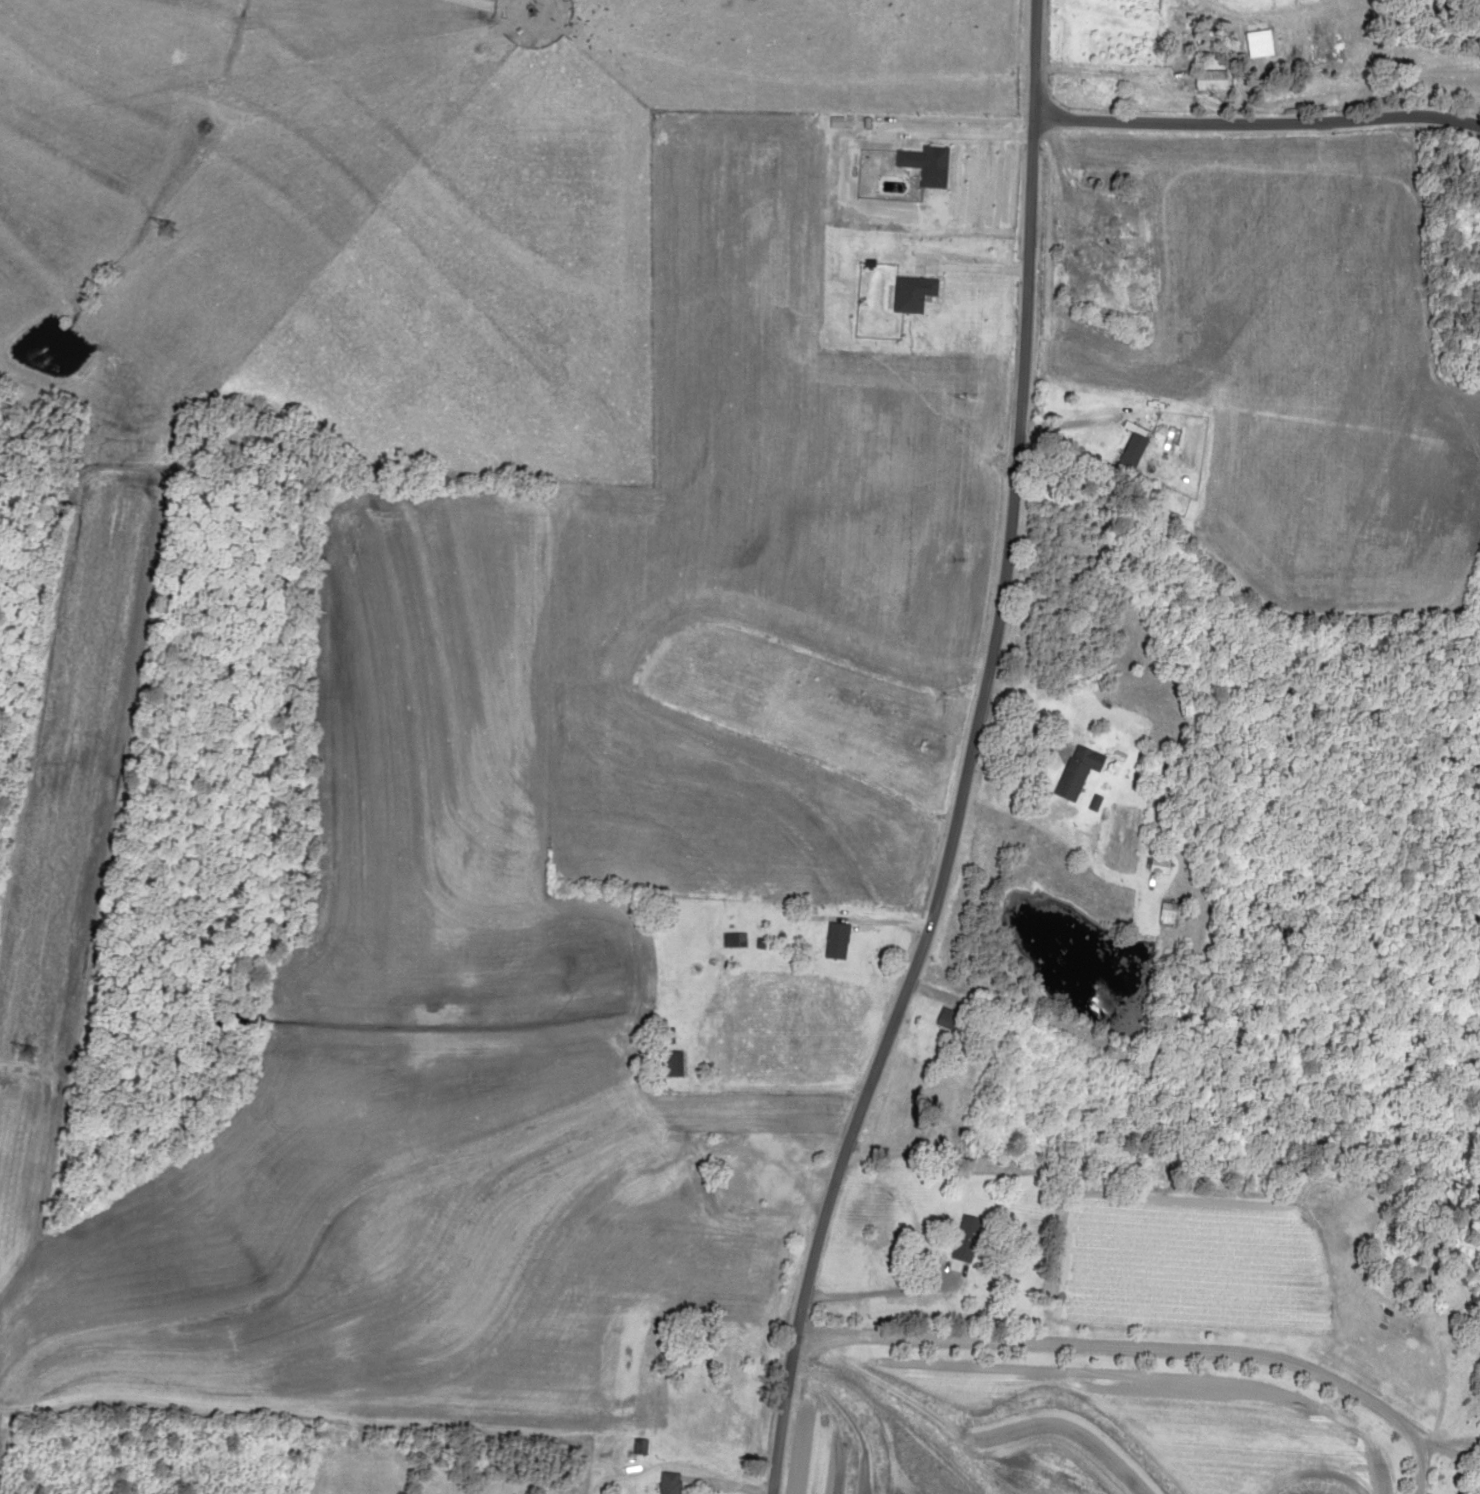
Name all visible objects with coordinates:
building: (1203, 80)
road: (1264, 130)
building: (916, 164)
building: (904, 291)
building: (1125, 444)
road: (963, 758)
building: (1066, 770)
building: (1151, 865)
building: (1163, 913)
building: (728, 939)
building: (830, 940)
building: (946, 1019)
building: (669, 1063)
building: (959, 1238)
building: (1408, 1273)
building: (731, 1360)
road: (924, 1464)
building: (666, 1482)

